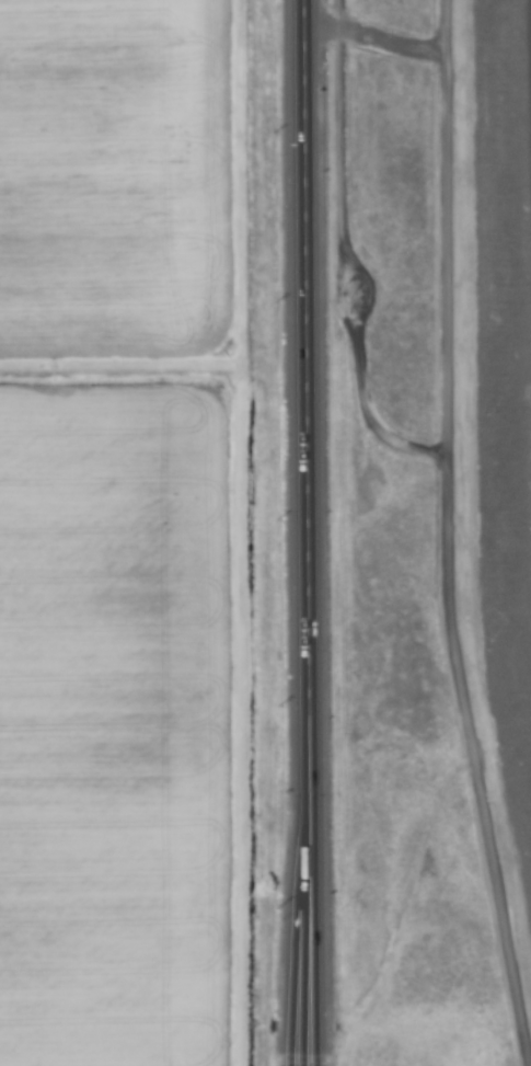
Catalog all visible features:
road: (311, 532)

